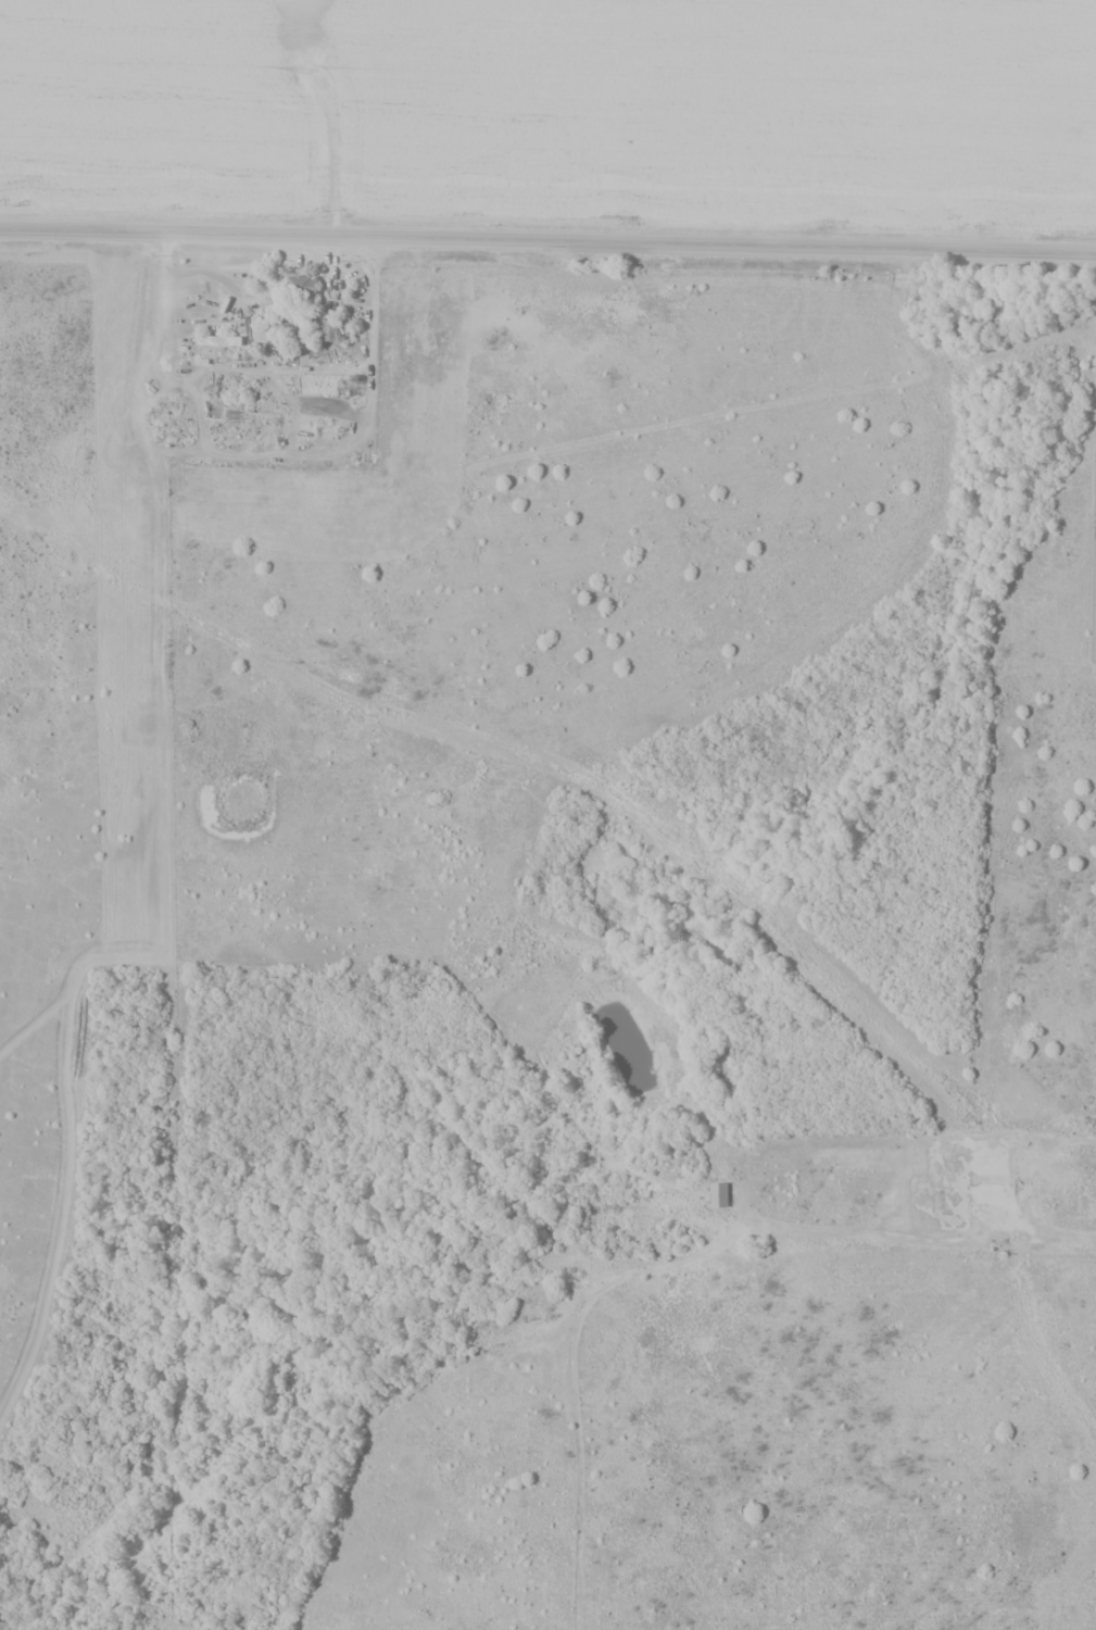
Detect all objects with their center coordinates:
road: (547, 243)
building: (300, 287)
building: (330, 330)
building: (215, 341)
road: (264, 368)
building: (717, 1196)
road: (676, 1258)

